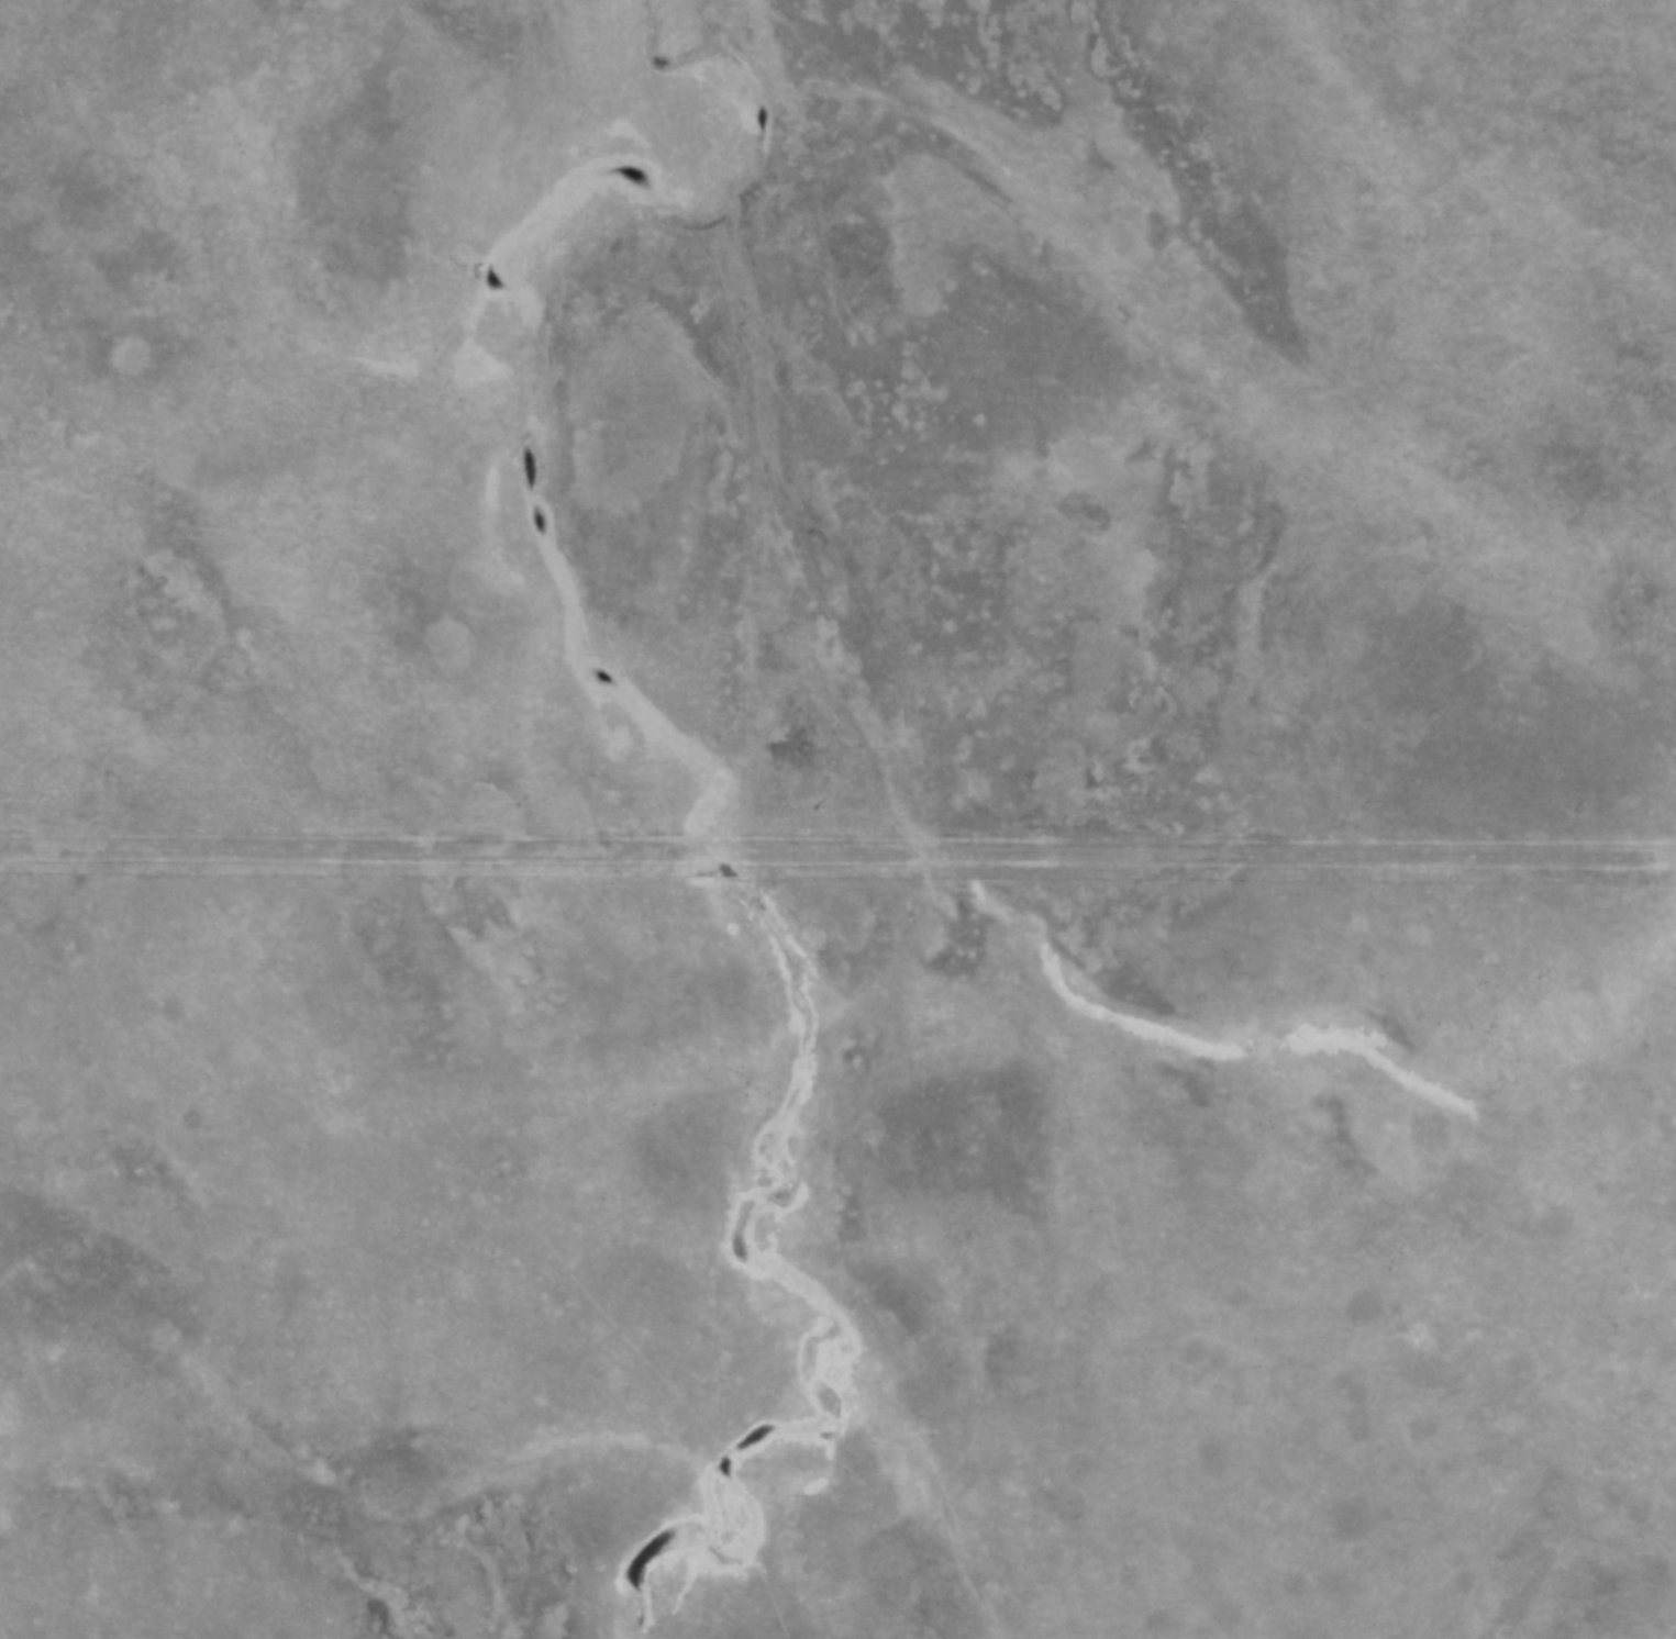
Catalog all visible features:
road: (837, 852)

